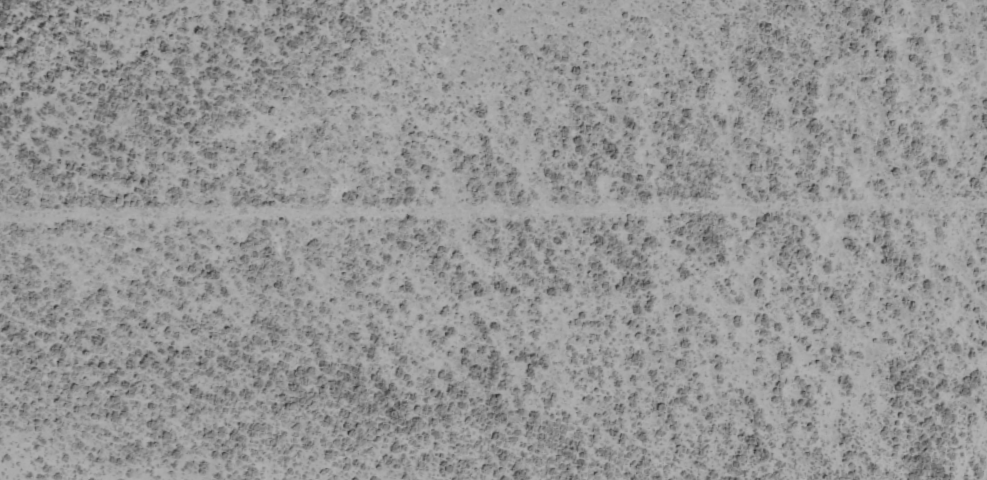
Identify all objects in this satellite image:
road: (974, 441)

